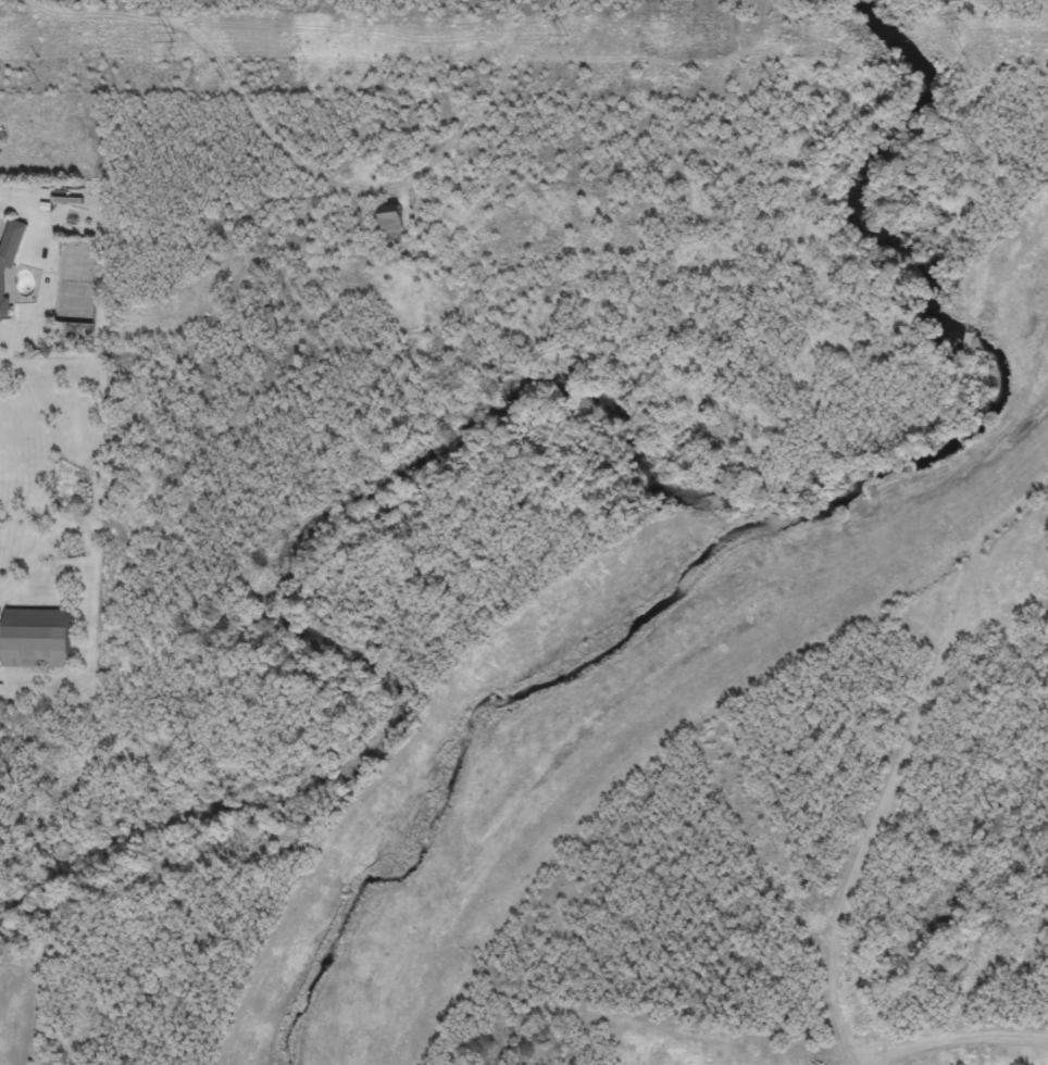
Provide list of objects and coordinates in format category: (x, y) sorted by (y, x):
power tower: (173, 37)
power tower: (566, 39)
power tower: (961, 42)
building: (391, 222)
road: (3, 247)
building: (9, 262)
building: (38, 638)

